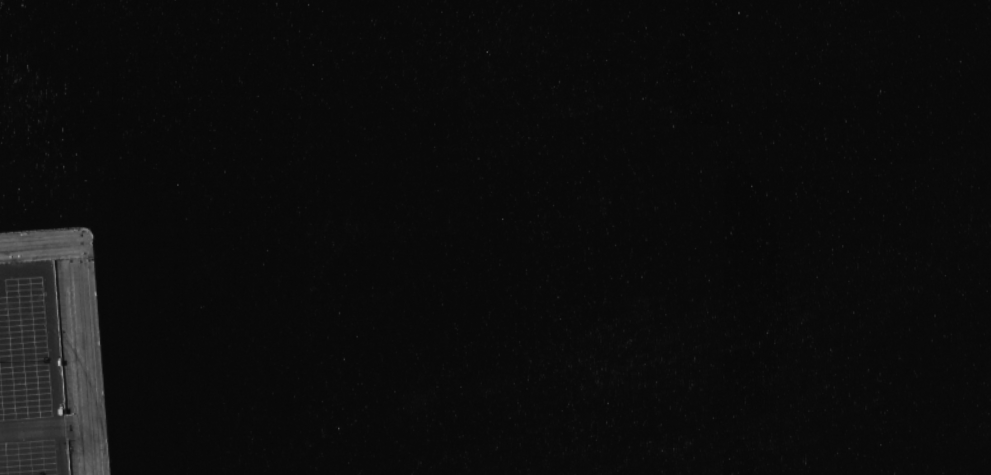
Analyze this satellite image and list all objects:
road: (46, 326)
railway: (91, 338)
railway: (78, 361)
railway: (83, 368)
road: (49, 430)

